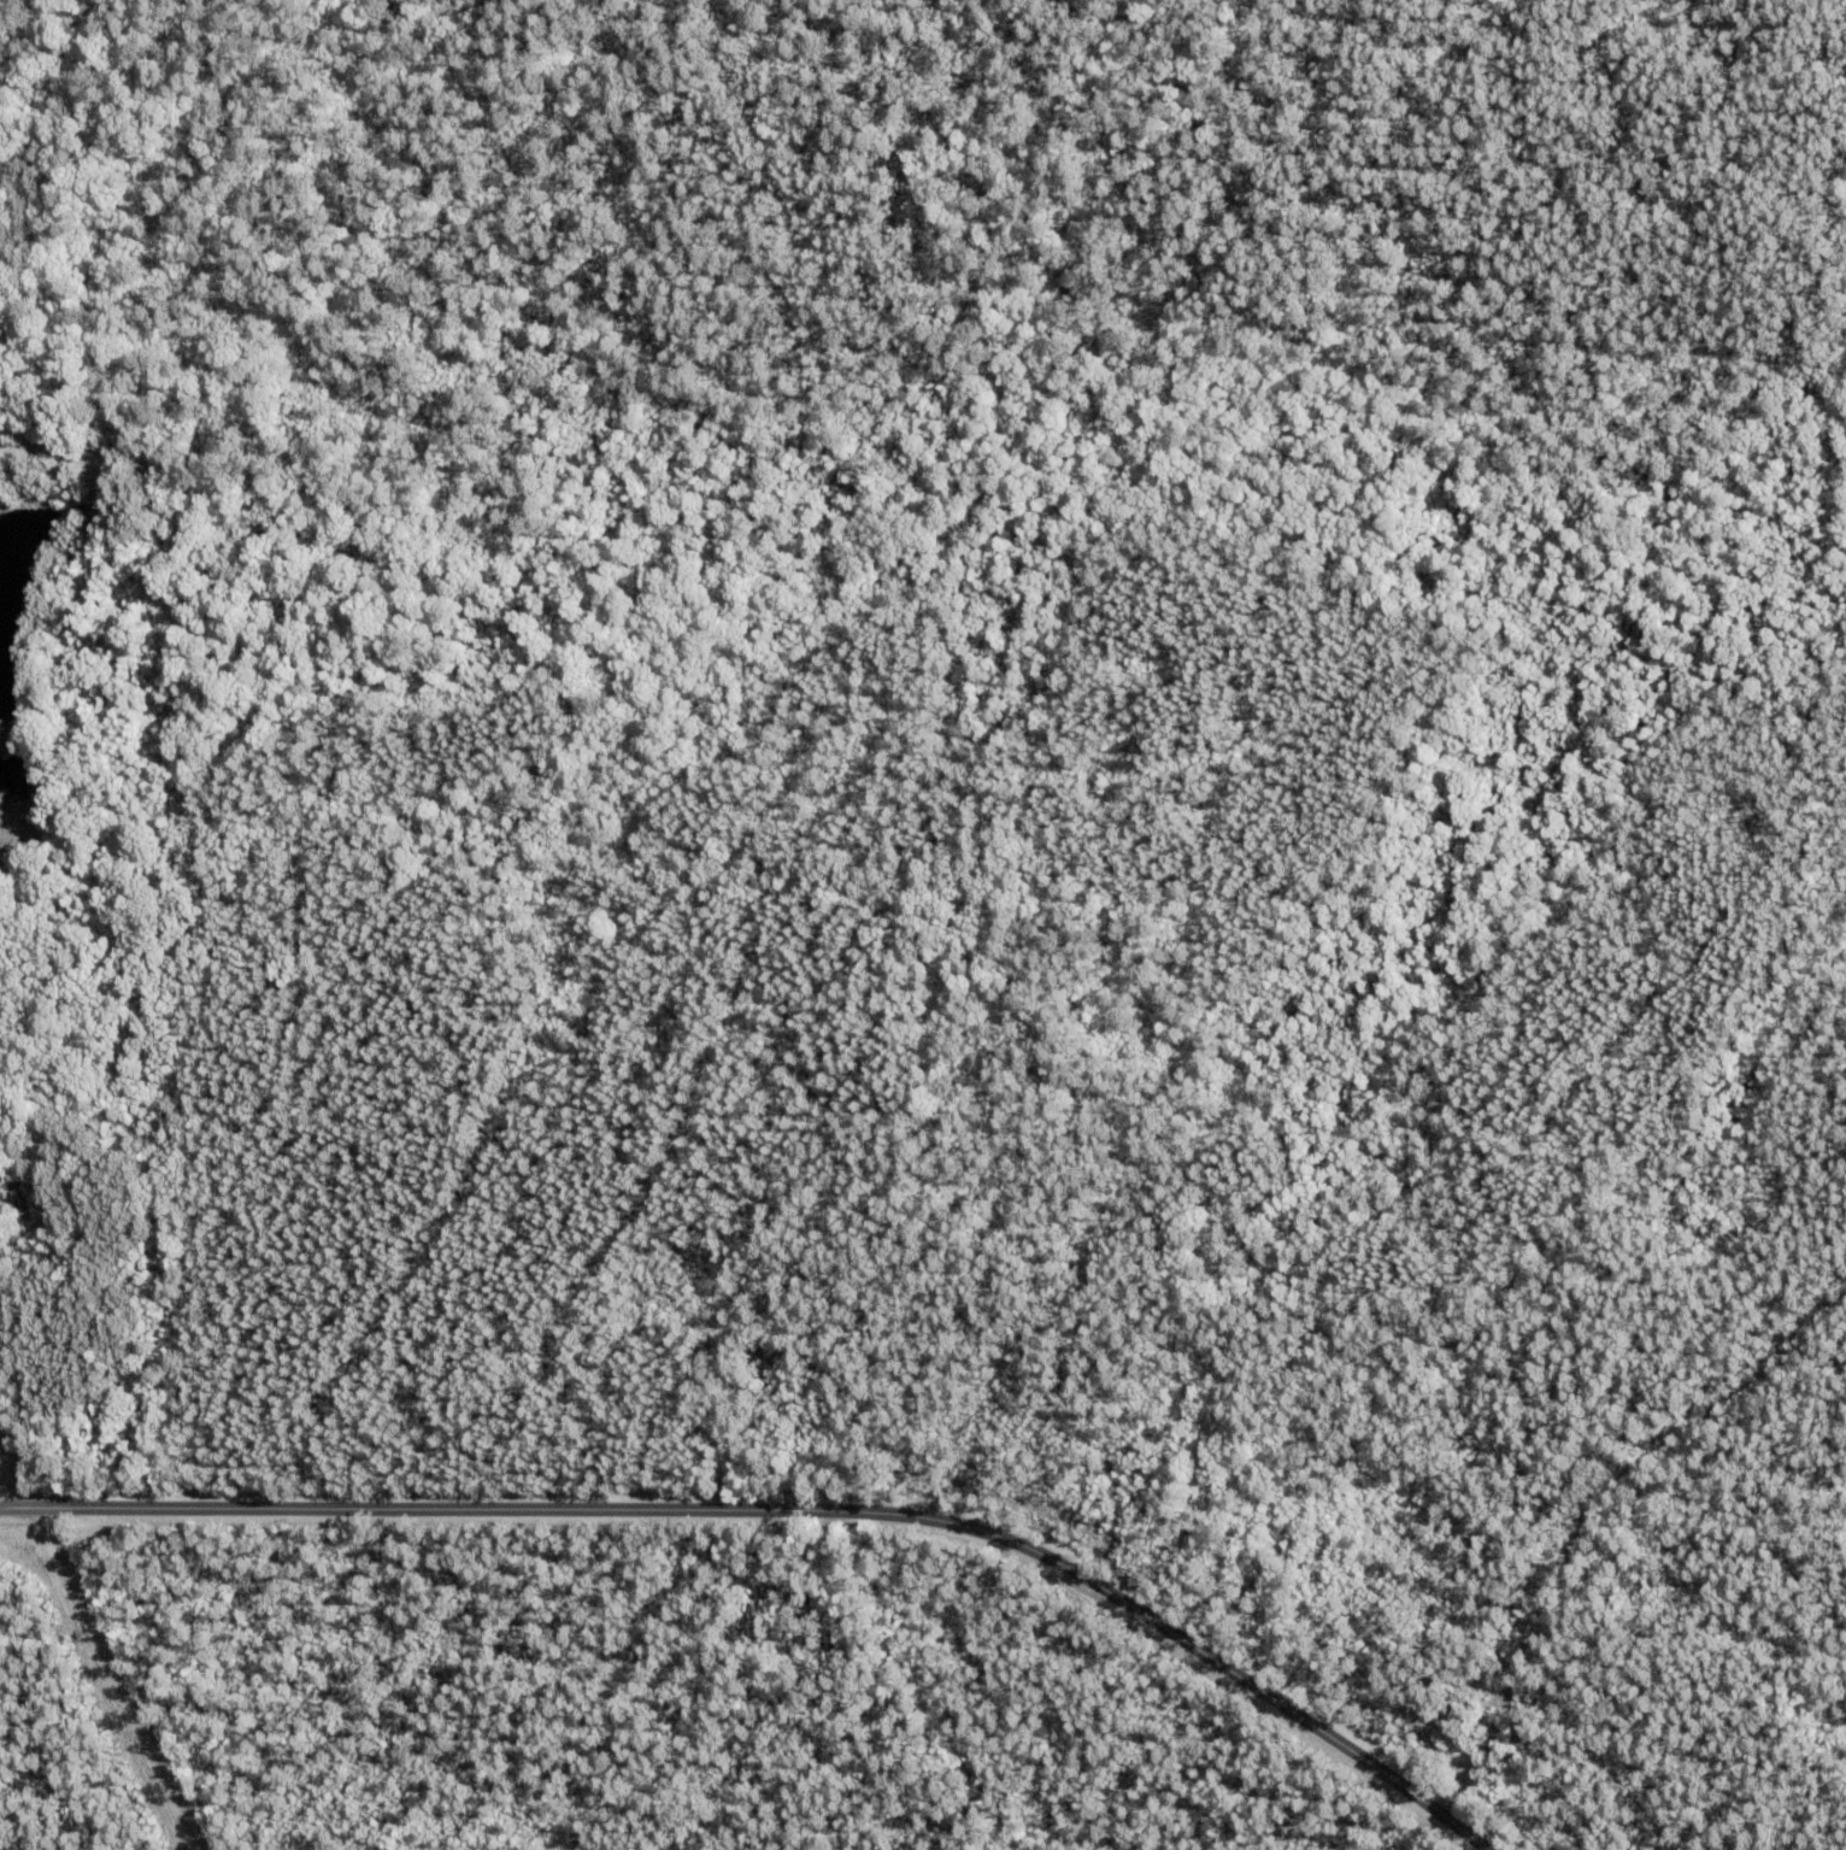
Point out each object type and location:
road: (325, 29)
building: (122, 1057)
building: (64, 1191)
building: (20, 1202)
building: (71, 1205)
road: (13, 1466)
road: (1585, 1487)
road: (793, 1508)

